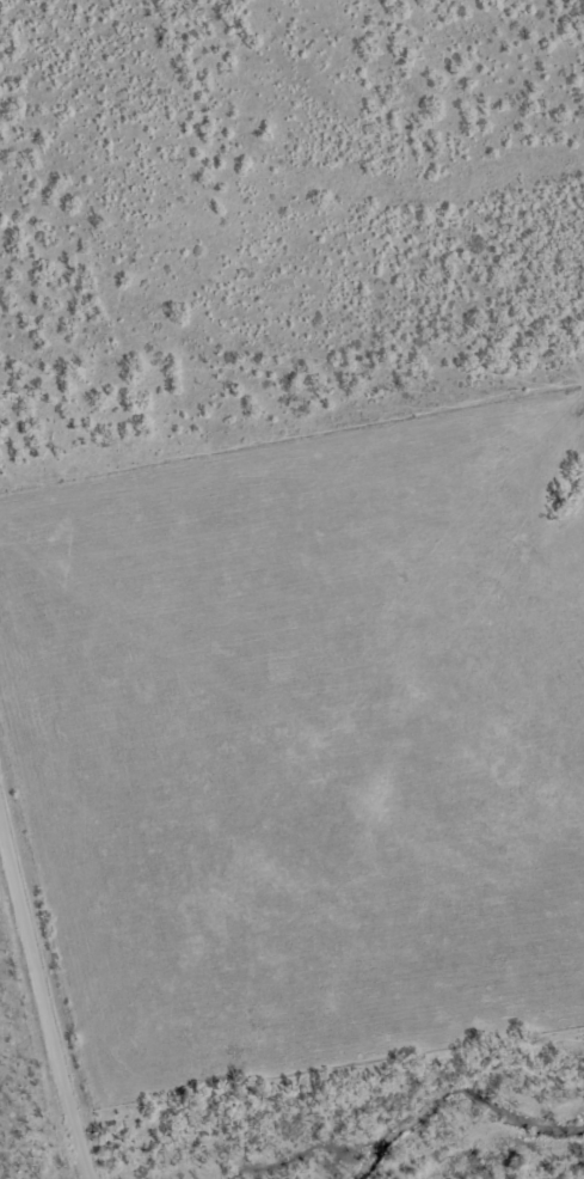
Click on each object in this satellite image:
road: (45, 984)

